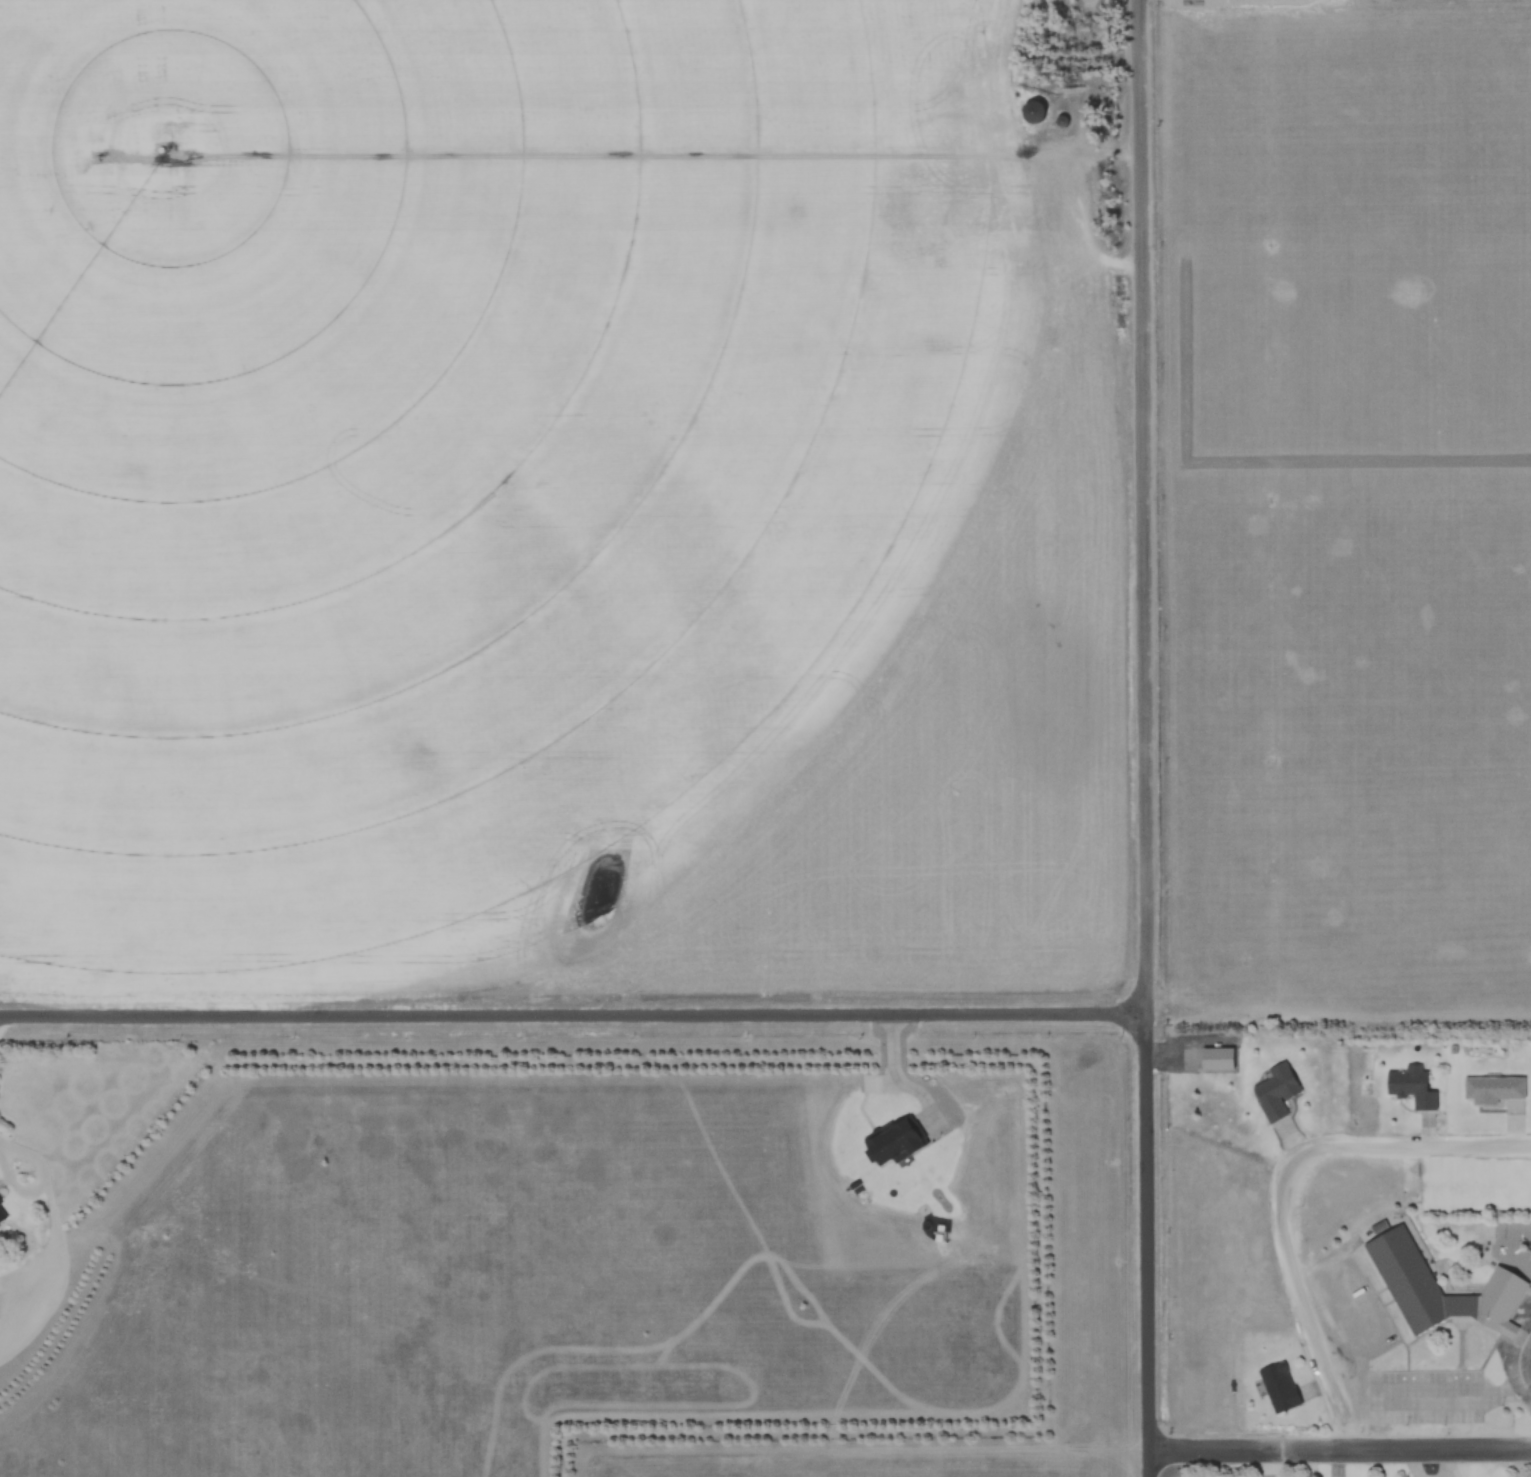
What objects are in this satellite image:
building: (1032, 112)
building: (1061, 122)
road: (1145, 505)
road: (573, 1014)
building: (1410, 1088)
road: (1287, 1192)
building: (2, 1216)
road: (1150, 1244)
building: (1404, 1275)
building: (1279, 1387)
road: (1342, 1450)

